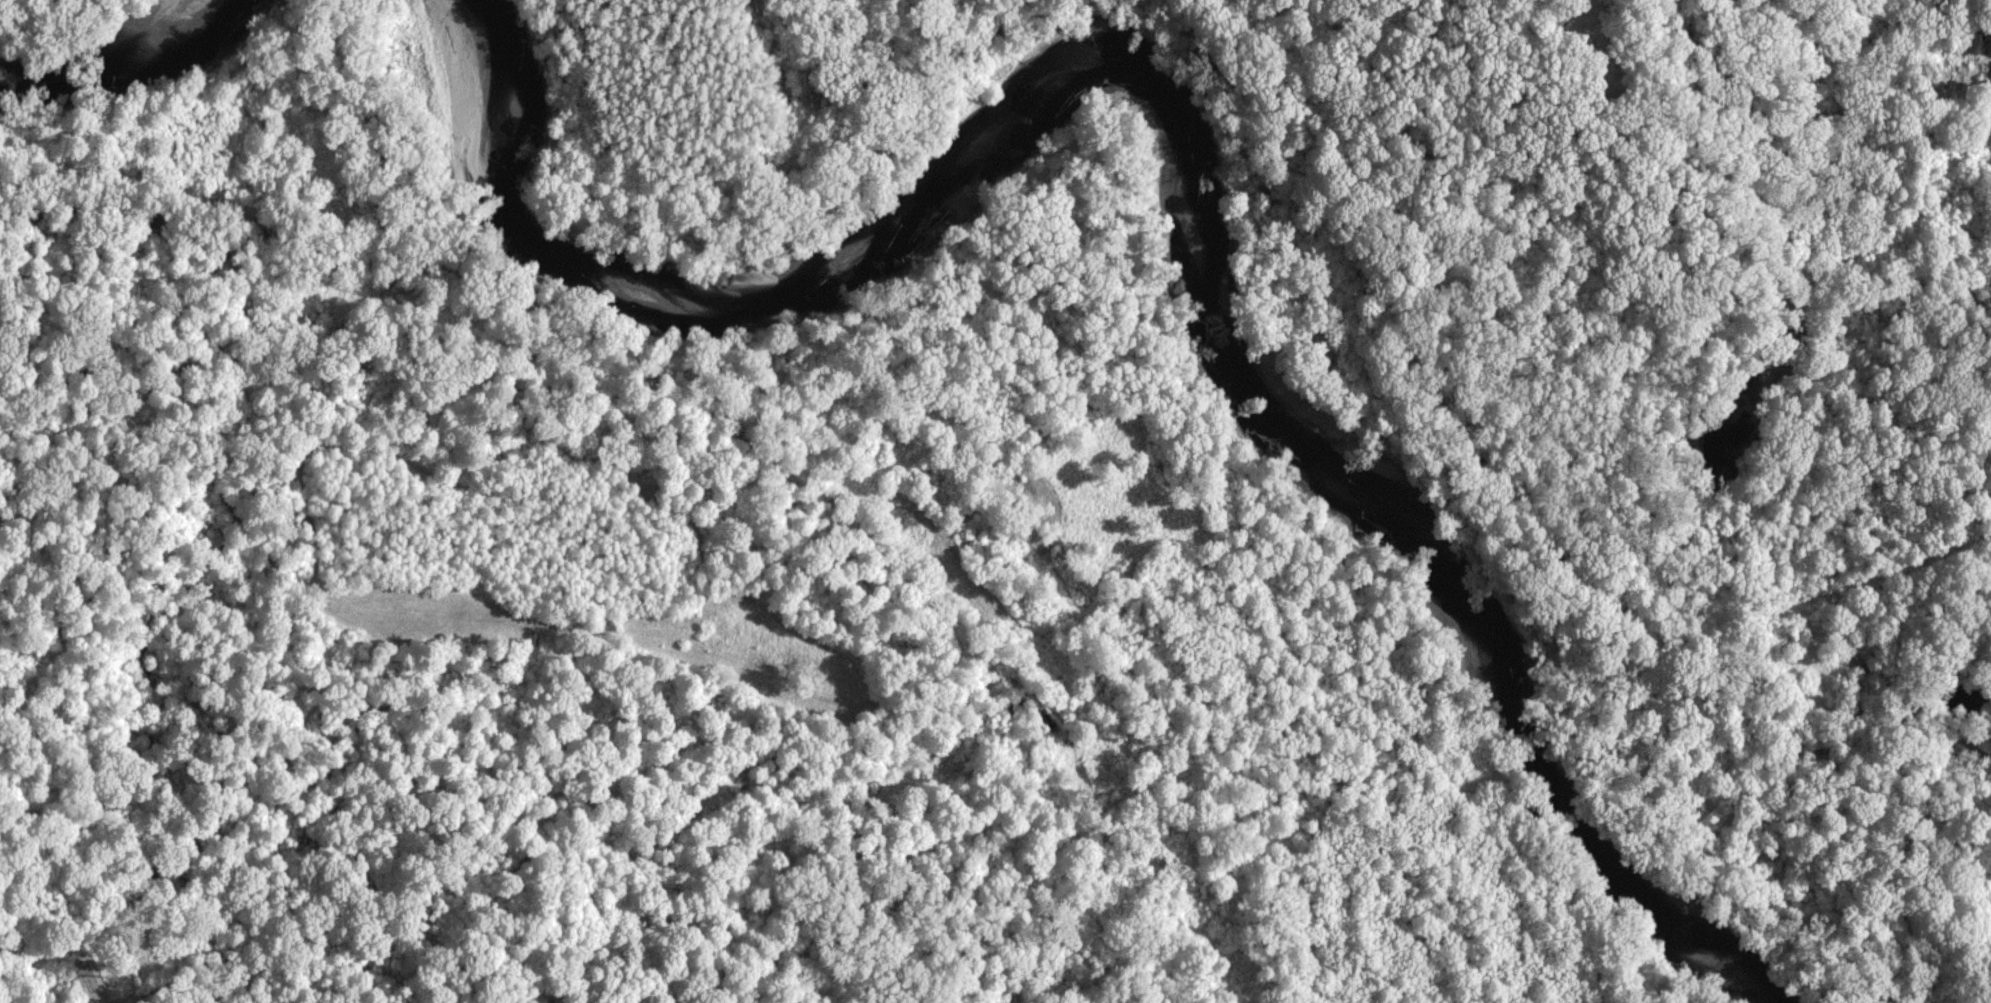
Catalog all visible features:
building: (1968, 42)
river: (127, 73)
river: (1195, 165)

